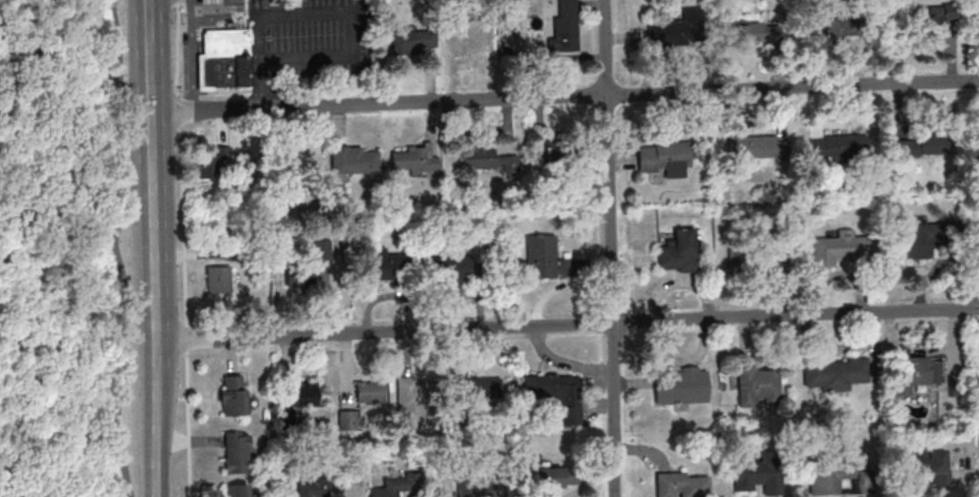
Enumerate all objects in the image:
building: (207, 3)
road: (192, 10)
road: (324, 13)
road: (216, 17)
building: (937, 19)
building: (975, 22)
building: (566, 27)
road: (148, 28)
building: (831, 29)
building: (671, 31)
building: (756, 32)
building: (414, 41)
building: (466, 41)
road: (605, 48)
building: (224, 58)
road: (191, 65)
road: (149, 75)
road: (564, 97)
road: (149, 103)
building: (757, 146)
building: (837, 146)
building: (917, 146)
building: (487, 158)
building: (663, 159)
building: (355, 160)
building: (416, 160)
building: (564, 161)
building: (135, 165)
road: (152, 225)
building: (924, 237)
road: (183, 248)
building: (322, 248)
road: (116, 249)
building: (838, 249)
building: (679, 252)
building: (545, 258)
building: (382, 264)
building: (447, 269)
building: (299, 274)
building: (218, 279)
road: (612, 296)
road: (566, 325)
building: (977, 369)
building: (832, 372)
building: (918, 373)
building: (756, 384)
building: (681, 386)
building: (477, 388)
building: (368, 392)
building: (305, 394)
building: (556, 394)
building: (233, 395)
building: (414, 402)
road: (155, 418)
building: (347, 419)
building: (237, 452)
building: (929, 465)
building: (828, 475)
building: (555, 477)
building: (758, 477)
building: (679, 484)
building: (397, 486)
building: (477, 487)
building: (310, 488)
building: (236, 490)

